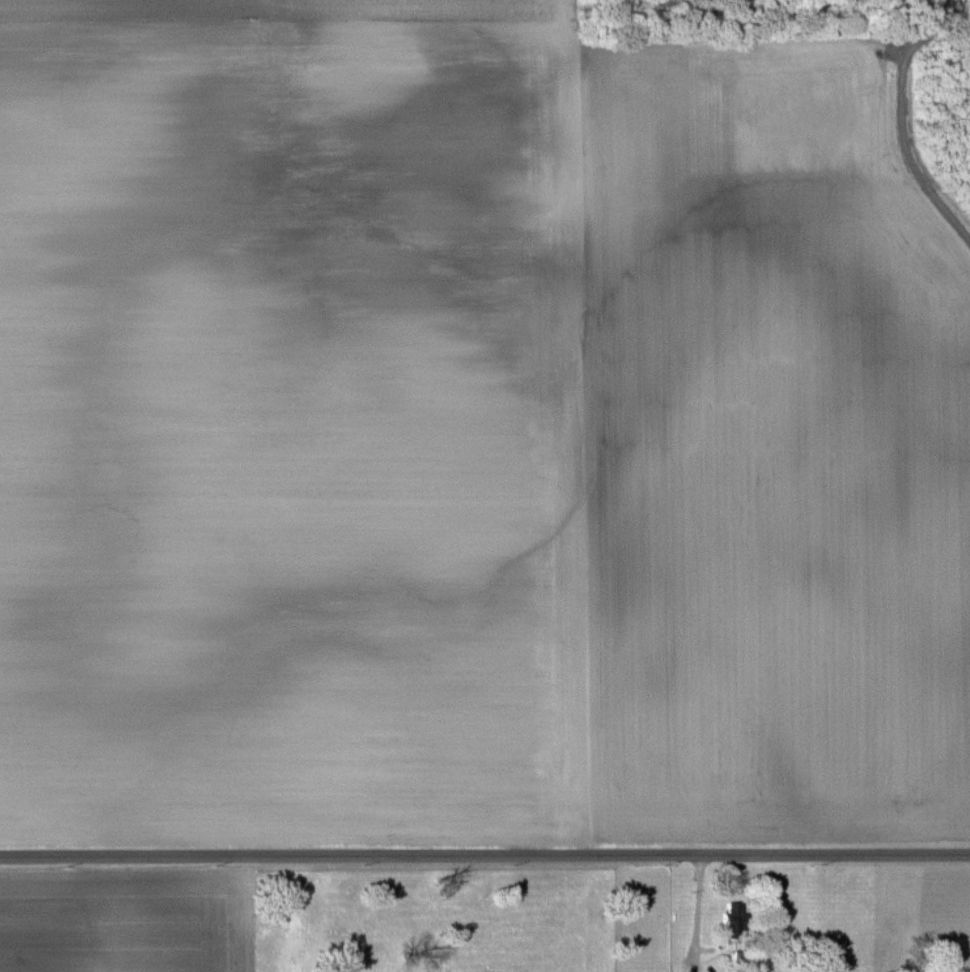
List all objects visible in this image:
road: (484, 856)
road: (695, 907)
building: (733, 918)

